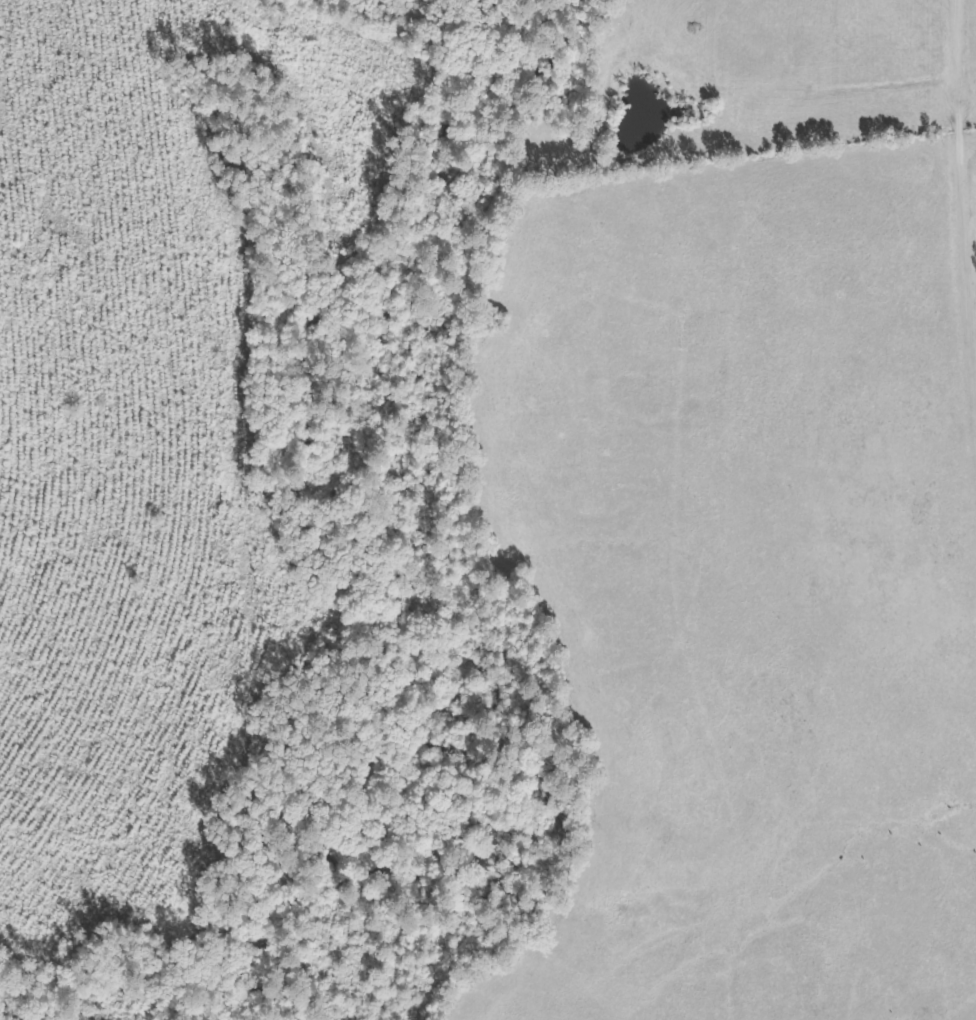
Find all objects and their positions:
road: (960, 188)

